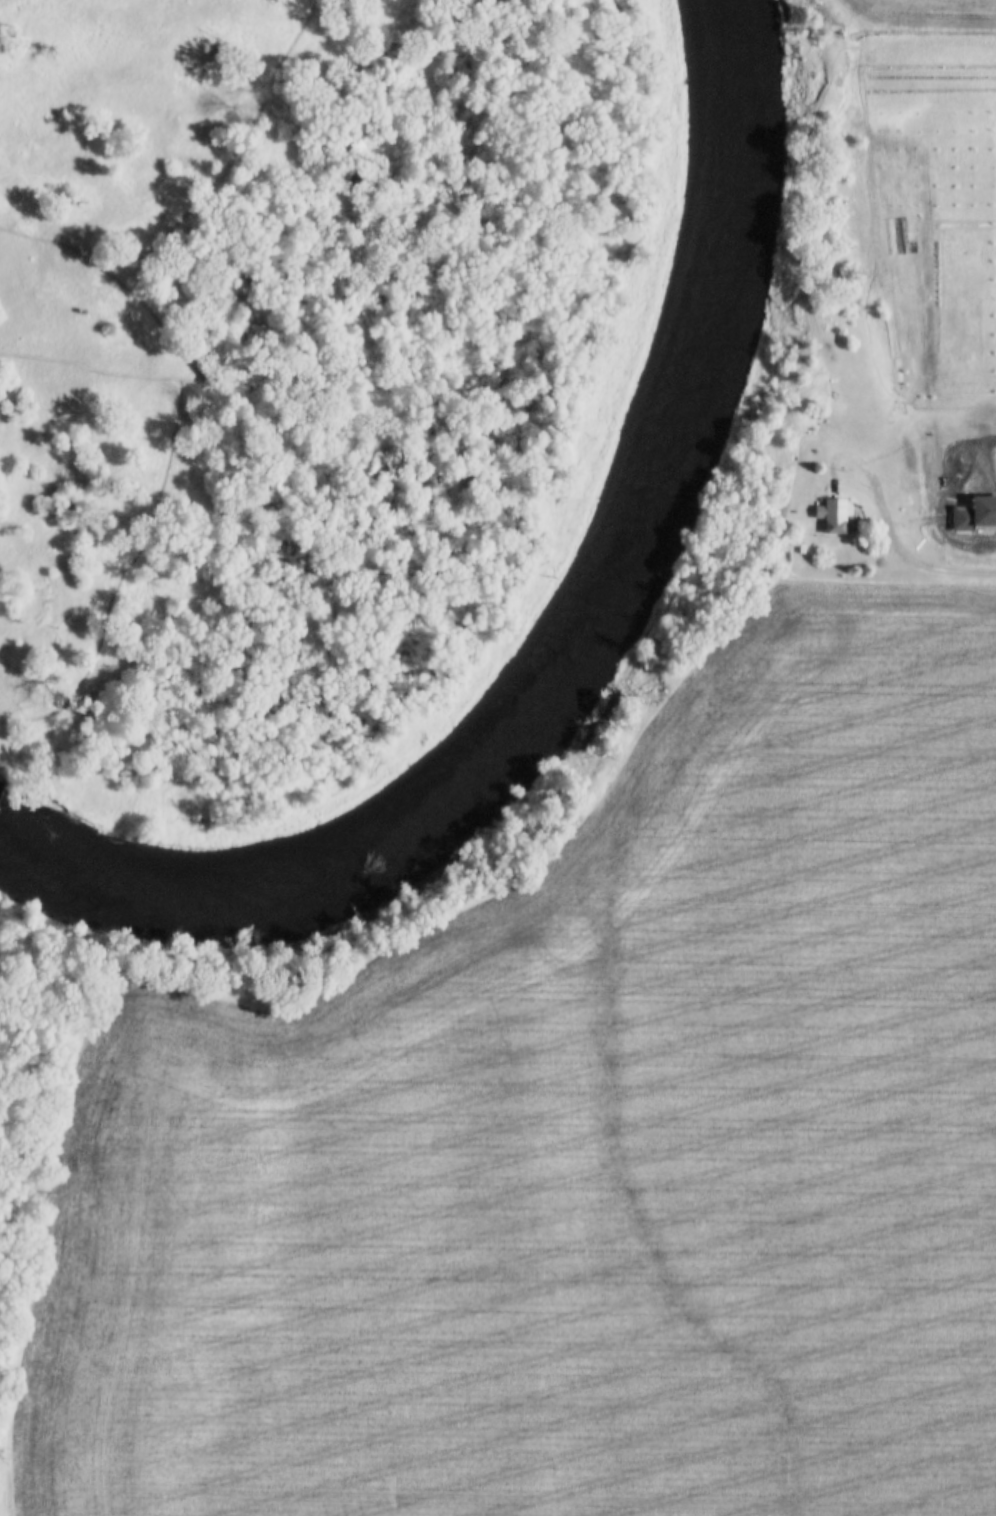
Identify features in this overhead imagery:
building: (832, 517)
road: (916, 564)
river: (576, 646)

